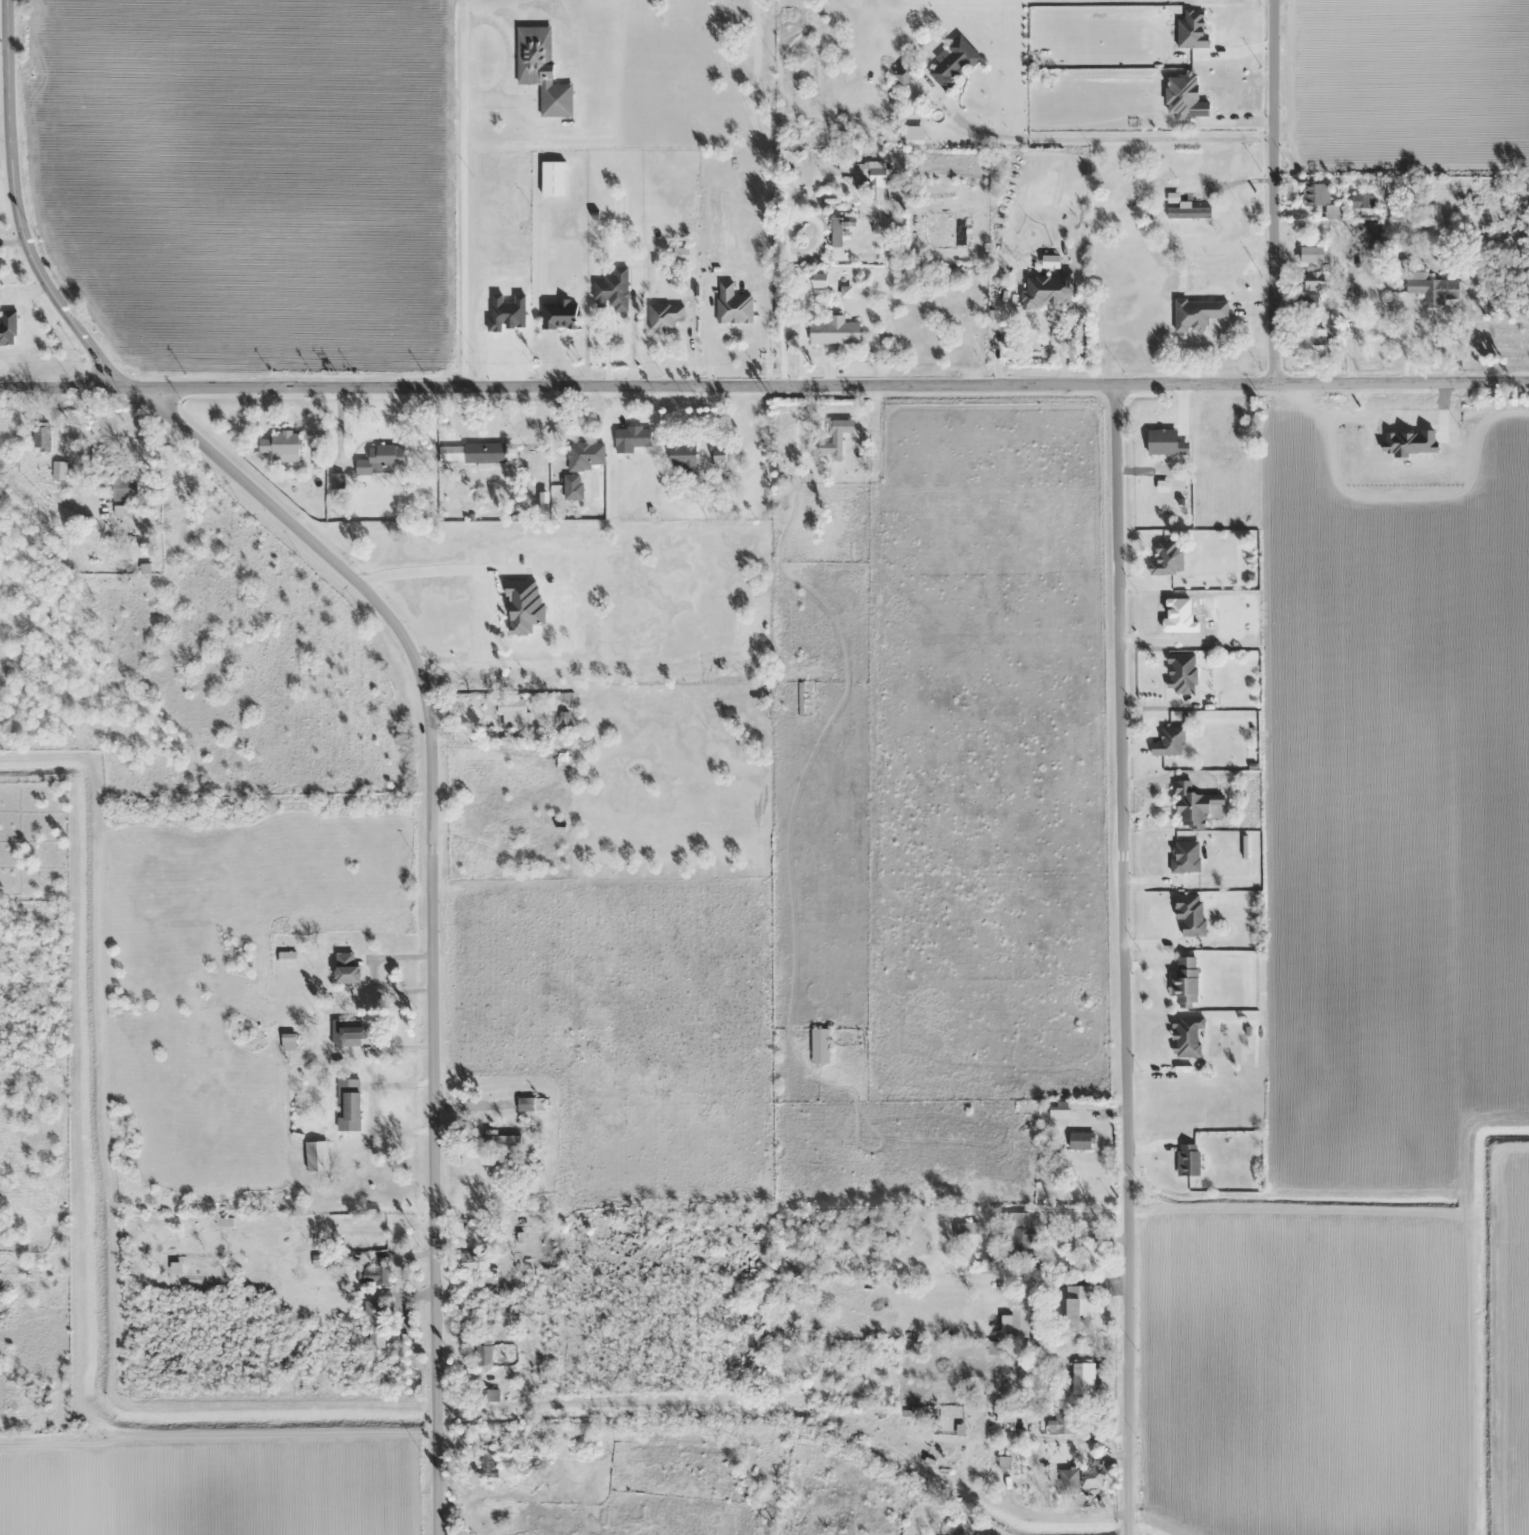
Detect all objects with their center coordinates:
building: (953, 62)
building: (541, 70)
building: (904, 73)
crop: (1405, 83)
building: (553, 178)
building: (875, 180)
road: (1271, 193)
building: (1319, 198)
building: (1361, 201)
building: (1189, 213)
road: (15, 214)
building: (836, 232)
building: (1366, 234)
road: (784, 248)
building: (1311, 254)
building: (1309, 280)
building: (1433, 288)
building: (612, 290)
building: (1047, 290)
building: (1307, 302)
building: (732, 305)
building: (1197, 313)
building: (559, 315)
building: (664, 316)
building: (8, 327)
building: (833, 330)
building: (1311, 341)
road: (764, 387)
building: (834, 433)
building: (783, 434)
building: (631, 438)
building: (41, 439)
building: (279, 444)
building: (484, 453)
building: (586, 455)
building: (682, 455)
building: (381, 460)
building: (59, 470)
building: (572, 487)
building: (124, 488)
building: (1168, 558)
building: (1181, 673)
building: (513, 713)
building: (1169, 742)
building: (1194, 806)
building: (1185, 856)
road: (429, 900)
building: (1191, 914)
building: (339, 932)
building: (286, 958)
road: (1126, 961)
building: (346, 967)
building: (1185, 980)
building: (353, 1035)
building: (1187, 1037)
building: (820, 1046)
building: (350, 1099)
building: (525, 1104)
building: (1058, 1107)
building: (497, 1140)
building: (1081, 1140)
building: (316, 1156)
building: (1187, 1159)
building: (970, 1227)
building: (1019, 1235)
building: (315, 1253)
building: (375, 1274)
building: (330, 1306)
building: (1077, 1307)
building: (301, 1312)
building: (373, 1324)
building: (1019, 1326)
building: (1081, 1378)
building: (488, 1395)
building: (1008, 1414)
building: (1062, 1422)
building: (1003, 1462)
building: (486, 1465)
building: (533, 1477)
building: (1067, 1481)
building: (950, 1534)

